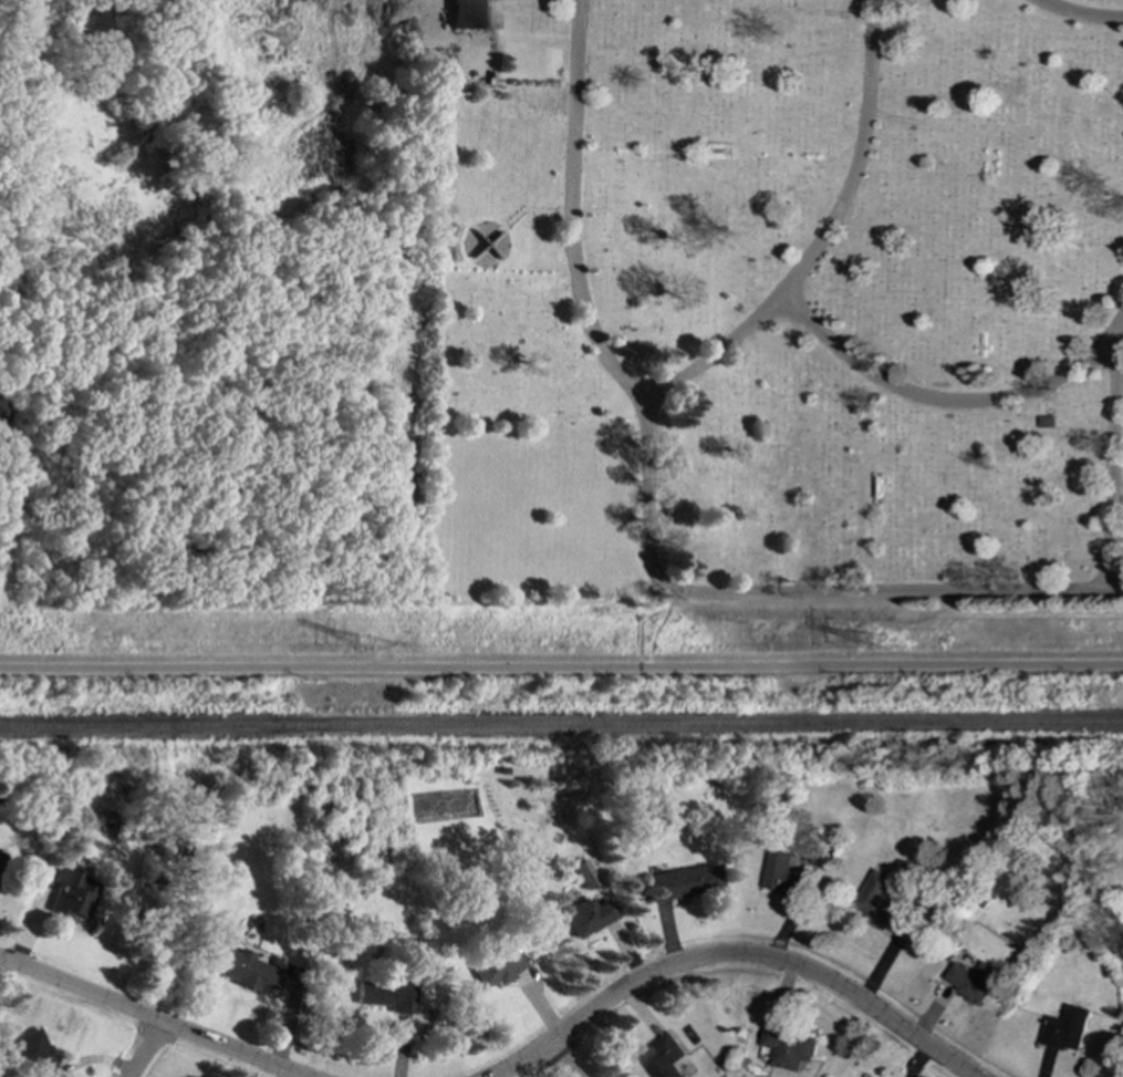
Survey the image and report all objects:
building: (475, 13)
road: (1079, 18)
road: (826, 239)
park: (561, 304)
road: (953, 403)
road: (1112, 458)
road: (655, 511)
power tower: (366, 644)
power tower: (883, 644)
road: (561, 665)
railway: (561, 725)
building: (0, 852)
building: (583, 873)
building: (781, 874)
building: (683, 881)
building: (70, 892)
building: (876, 900)
building: (586, 915)
road: (731, 955)
building: (496, 964)
building: (246, 969)
building: (971, 980)
building: (383, 993)
road: (150, 1015)
building: (1064, 1028)
building: (787, 1047)
road: (149, 1049)
building: (29, 1053)
building: (664, 1056)
road: (563, 1059)

